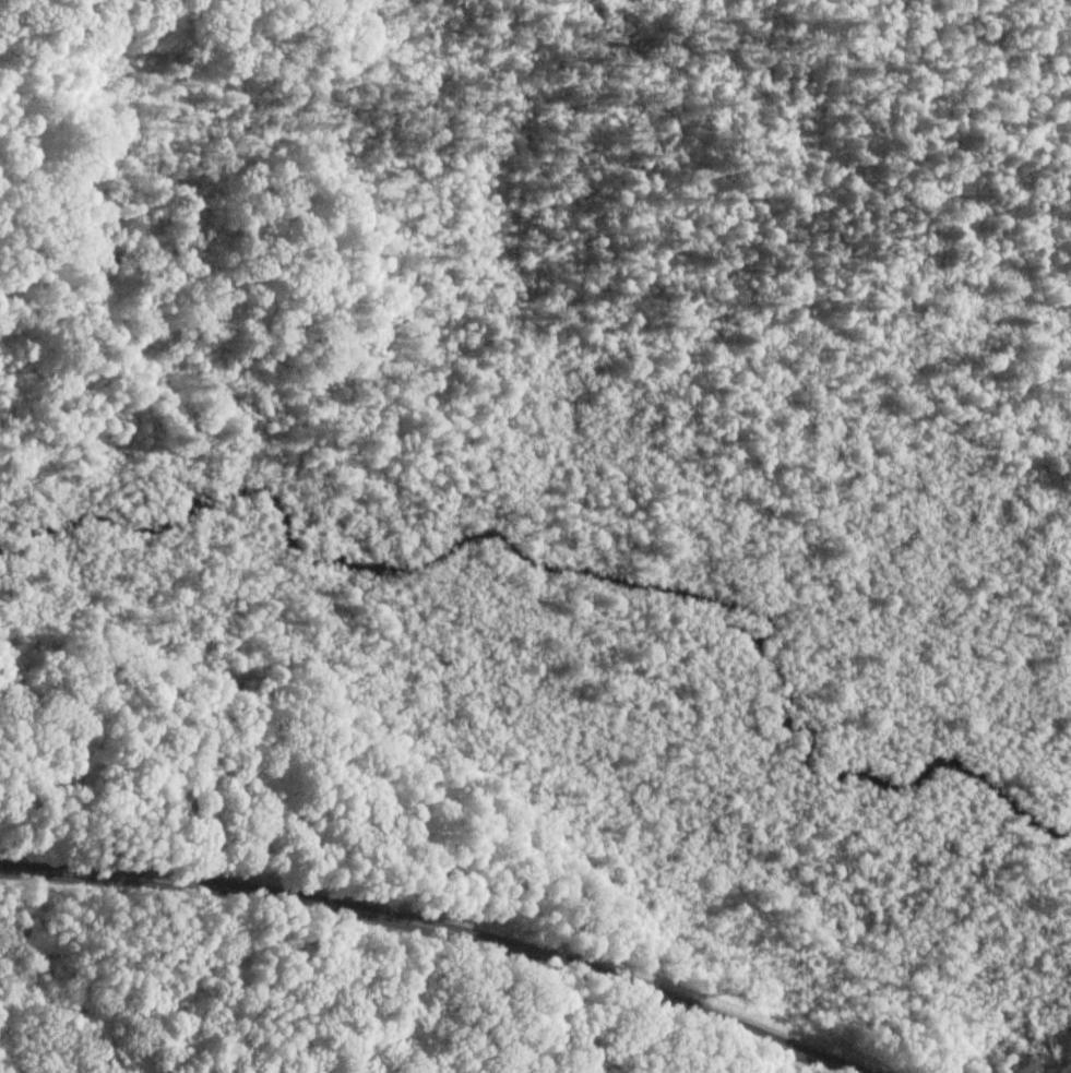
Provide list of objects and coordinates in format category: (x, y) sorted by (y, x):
road: (440, 923)

